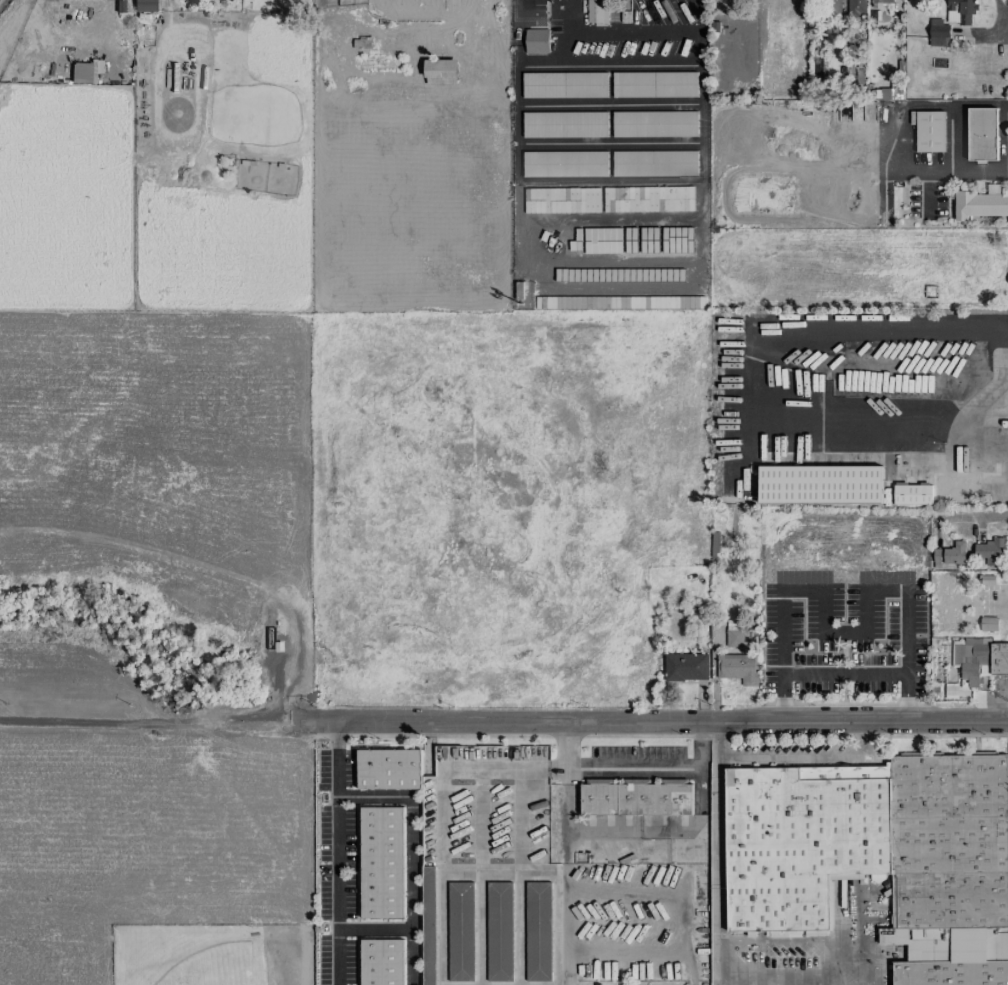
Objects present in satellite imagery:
building: (882, 1)
road: (518, 2)
building: (144, 5)
building: (828, 6)
building: (856, 8)
building: (960, 11)
building: (597, 12)
road: (1004, 18)
road: (699, 32)
building: (938, 32)
building: (537, 41)
building: (441, 72)
building: (83, 73)
building: (654, 84)
building: (565, 85)
building: (893, 93)
building: (565, 124)
building: (654, 124)
building: (929, 130)
building: (982, 133)
building: (654, 163)
building: (565, 164)
road: (964, 173)
building: (648, 199)
building: (562, 200)
building: (982, 203)
road: (978, 408)
building: (820, 484)
building: (932, 488)
road: (977, 515)
building: (990, 551)
building: (955, 553)
building: (986, 579)
road: (1000, 612)
building: (989, 623)
building: (737, 657)
building: (971, 658)
building: (999, 658)
building: (686, 667)
road: (842, 671)
road: (649, 720)
road: (336, 757)
road: (790, 758)
road: (632, 767)
building: (389, 769)
building: (635, 798)
road: (411, 852)
building: (880, 856)
building: (382, 862)
road: (441, 872)
building: (699, 886)
road: (336, 889)
building: (428, 925)
road: (374, 928)
building: (461, 931)
building: (499, 931)
building: (538, 931)
park: (211, 953)
building: (382, 962)

